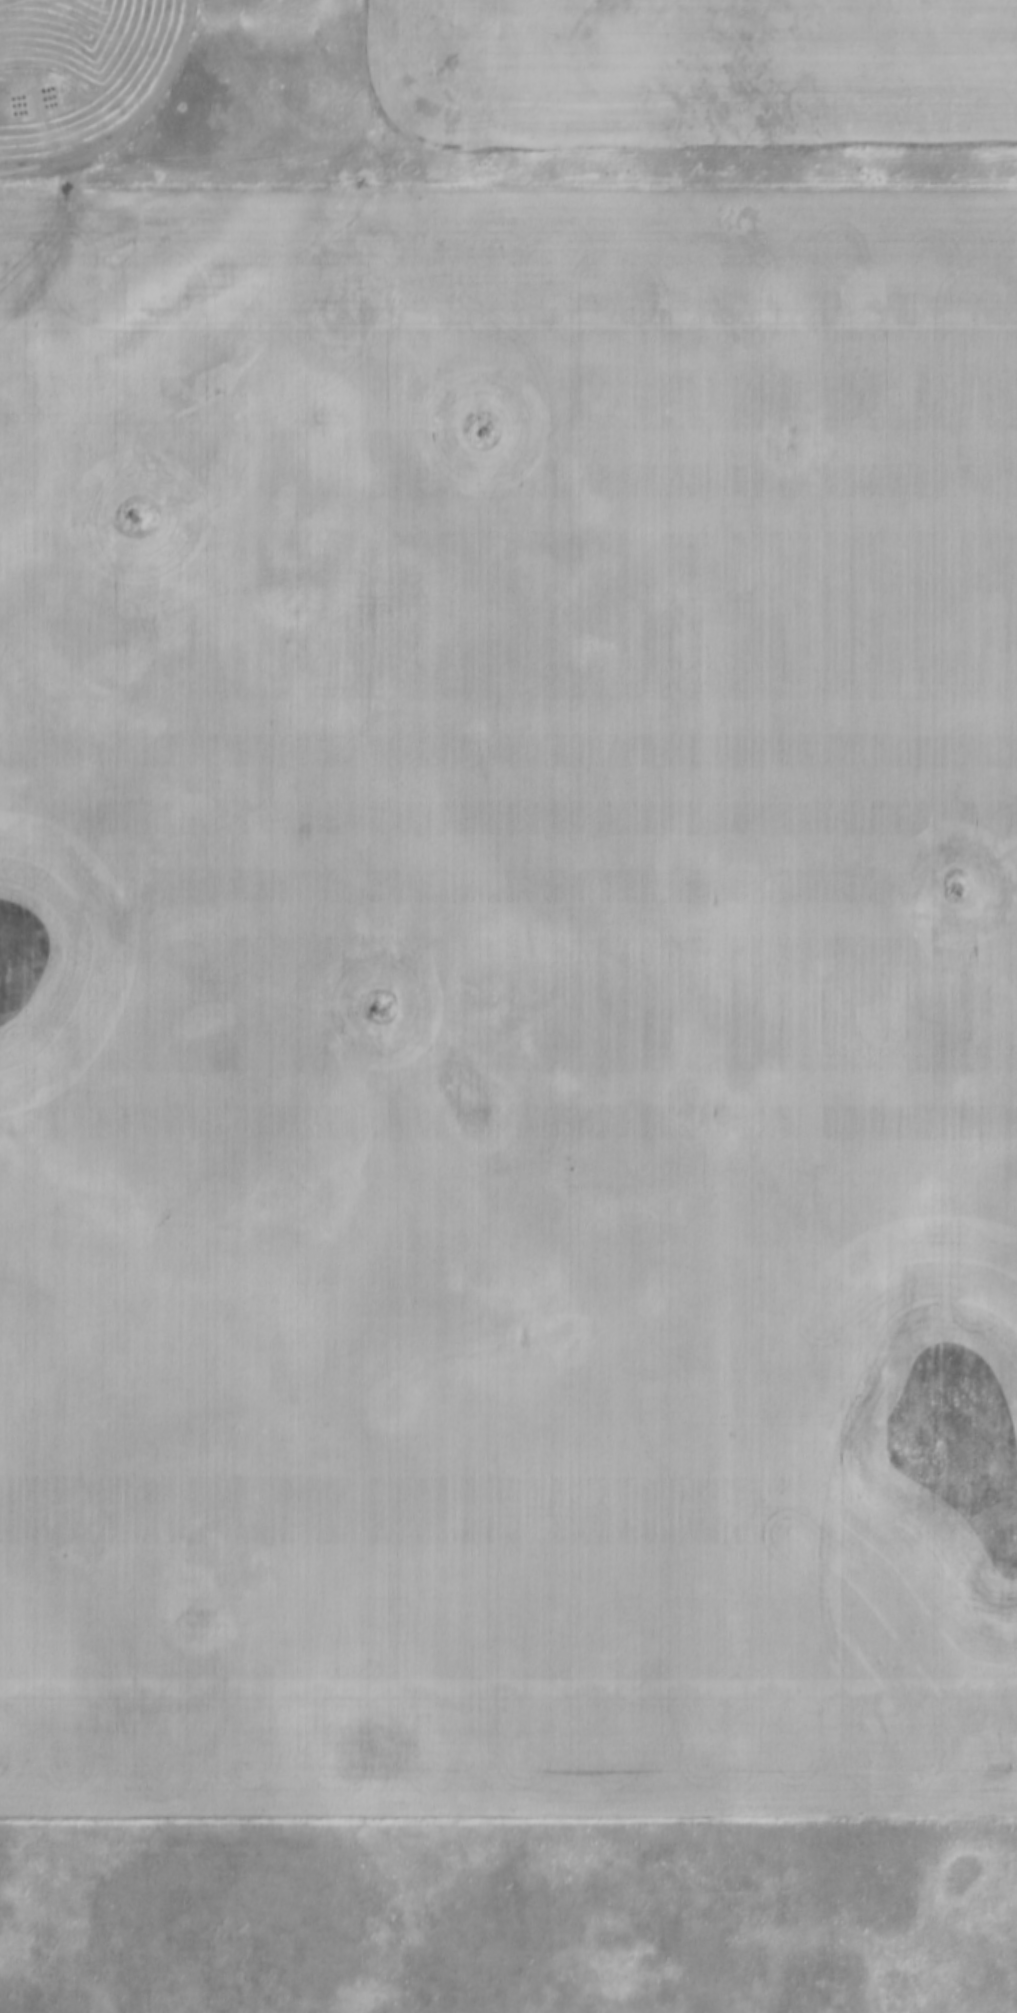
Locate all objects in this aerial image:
road: (370, 76)
road: (505, 164)
road: (508, 1829)

